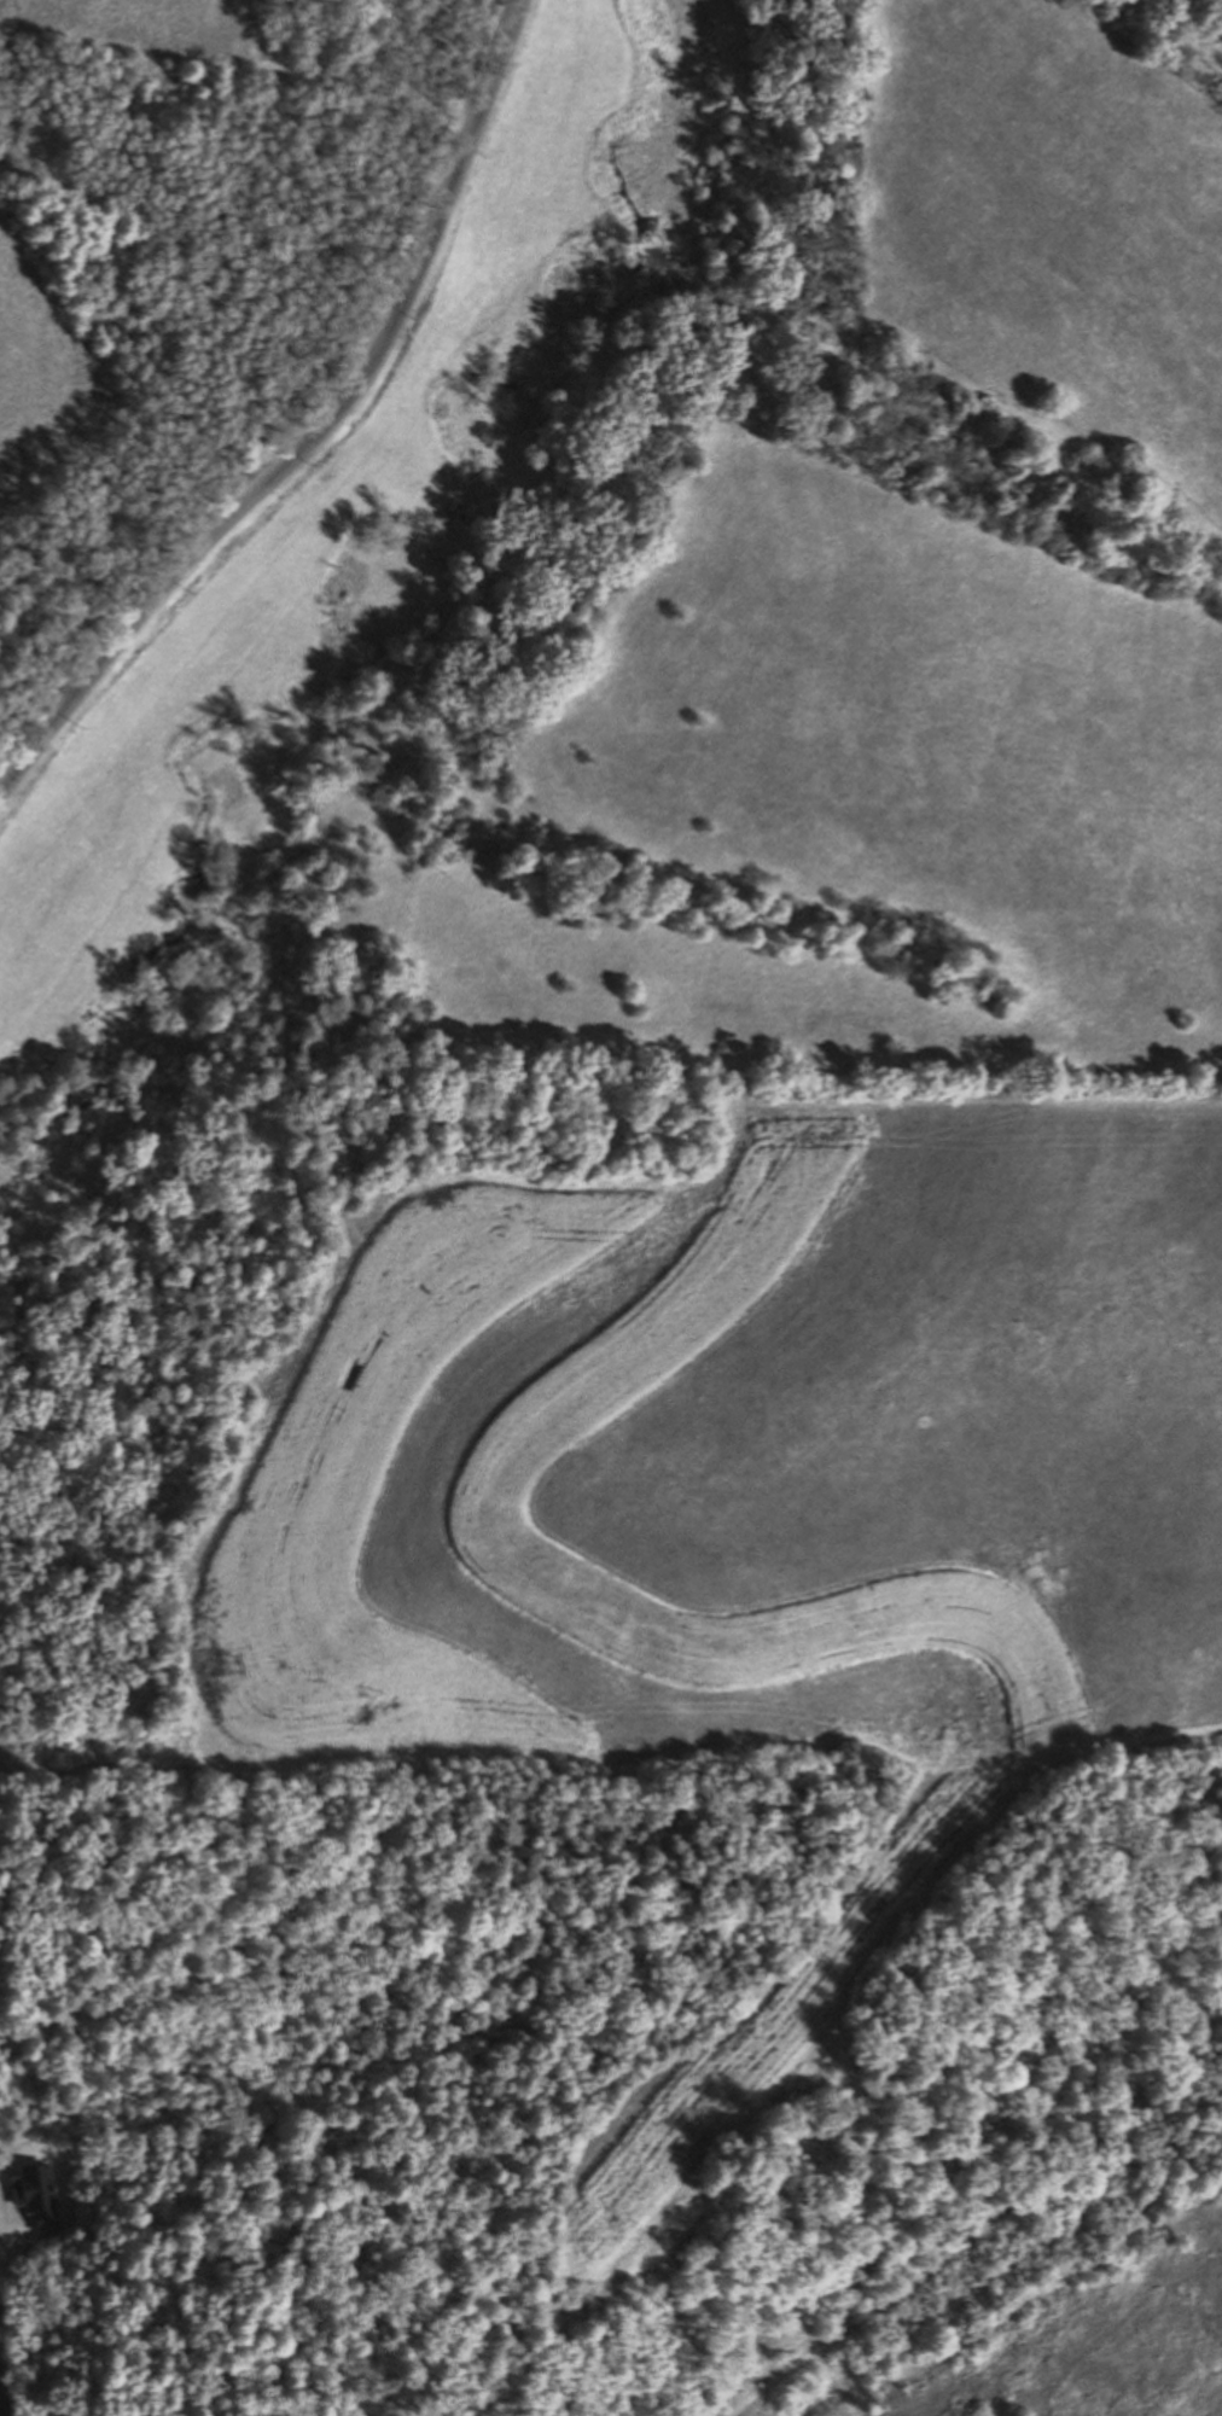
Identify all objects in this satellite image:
road: (316, 430)
building: (35, 2220)

